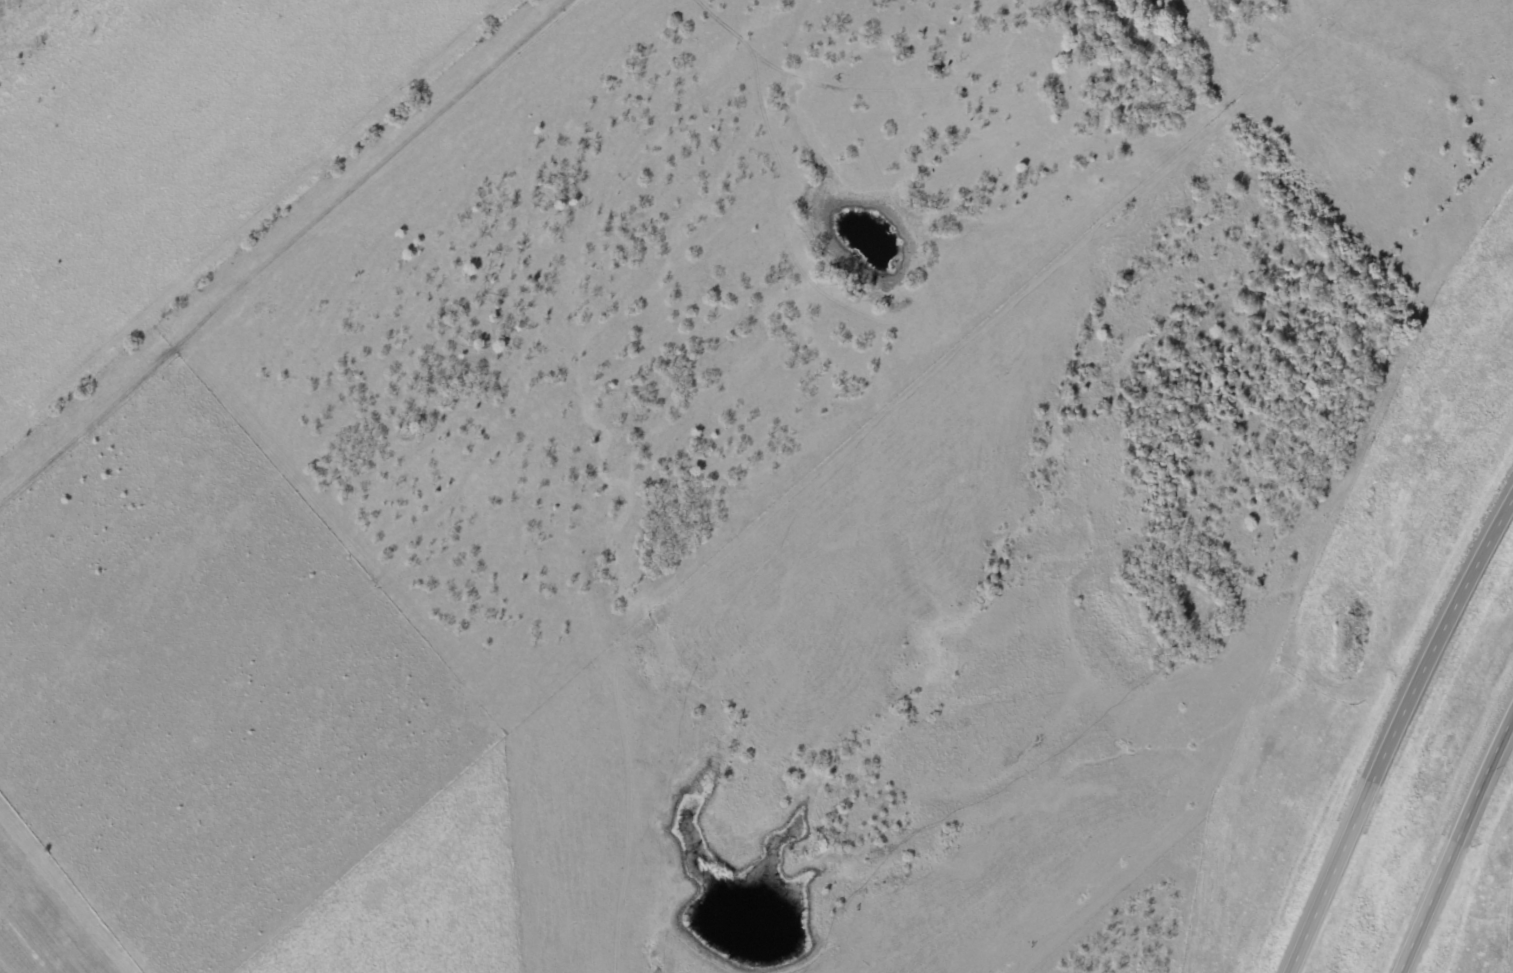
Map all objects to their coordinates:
road: (1391, 728)
road: (1454, 842)

